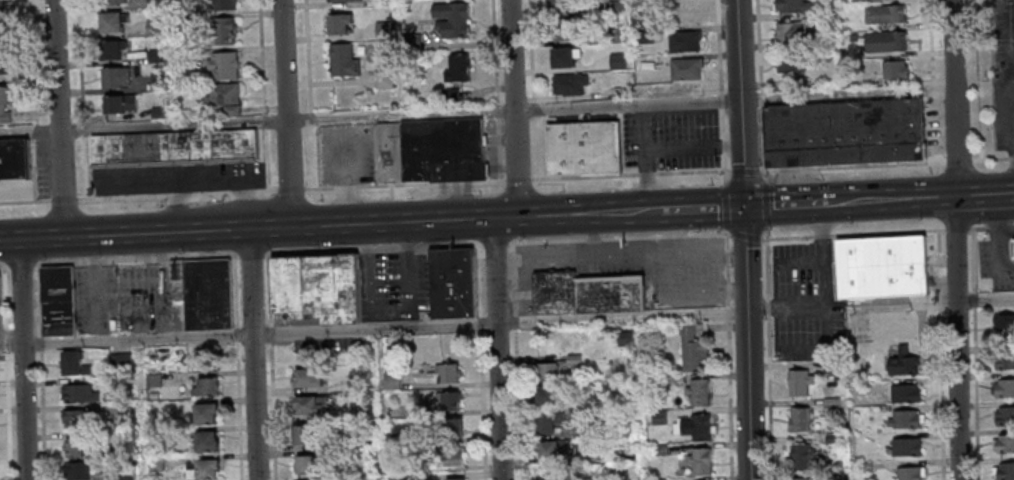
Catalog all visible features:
building: (344, 0)
building: (859, 0)
building: (118, 1)
building: (223, 4)
building: (560, 6)
building: (792, 6)
building: (4, 7)
building: (823, 12)
building: (686, 13)
building: (884, 14)
building: (452, 19)
building: (114, 22)
building: (341, 24)
building: (564, 29)
building: (226, 30)
building: (791, 34)
building: (853, 37)
building: (1, 38)
building: (685, 41)
building: (885, 42)
building: (114, 50)
road: (494, 50)
road: (529, 51)
building: (564, 56)
building: (344, 60)
road: (33, 61)
building: (223, 65)
building: (5, 66)
building: (687, 69)
building: (791, 69)
building: (894, 70)
building: (456, 74)
building: (117, 77)
building: (384, 79)
building: (570, 84)
road: (720, 91)
building: (224, 96)
road: (81, 99)
road: (742, 103)
building: (6, 104)
building: (121, 104)
road: (619, 104)
road: (512, 108)
road: (532, 108)
road: (496, 109)
road: (285, 113)
road: (1011, 115)
road: (532, 116)
road: (57, 119)
road: (172, 125)
road: (29, 131)
road: (33, 131)
building: (846, 131)
building: (173, 148)
building: (443, 148)
building: (582, 149)
building: (386, 150)
road: (498, 151)
building: (14, 158)
road: (956, 159)
road: (995, 160)
road: (848, 166)
road: (33, 170)
road: (745, 171)
road: (631, 173)
road: (518, 179)
road: (404, 186)
road: (289, 189)
road: (175, 193)
road: (391, 193)
road: (984, 196)
road: (62, 198)
road: (25, 201)
road: (891, 201)
road: (786, 205)
traffic signals: (746, 207)
road: (704, 209)
road: (393, 211)
road: (590, 214)
road: (258, 228)
road: (746, 235)
road: (619, 237)
road: (788, 237)
road: (766, 239)
road: (954, 239)
building: (1013, 239)
road: (997, 241)
road: (495, 242)
building: (1013, 247)
road: (373, 249)
road: (251, 255)
road: (136, 259)
road: (20, 264)
road: (2, 265)
building: (882, 270)
building: (453, 282)
building: (318, 287)
building: (203, 291)
building: (554, 294)
building: (609, 296)
road: (984, 296)
building: (1, 300)
building: (58, 300)
road: (373, 327)
building: (1004, 329)
road: (728, 331)
building: (624, 338)
road: (747, 343)
building: (692, 348)
road: (496, 349)
road: (251, 354)
road: (22, 359)
building: (1004, 361)
building: (119, 363)
building: (903, 363)
building: (72, 366)
building: (831, 367)
building: (556, 368)
road: (5, 372)
road: (40, 372)
building: (446, 374)
building: (152, 381)
building: (305, 381)
building: (391, 381)
building: (656, 381)
building: (799, 383)
building: (353, 384)
building: (205, 389)
building: (1004, 389)
building: (698, 394)
building: (904, 394)
building: (78, 395)
building: (545, 397)
building: (447, 402)
building: (832, 402)
building: (306, 407)
building: (122, 410)
building: (361, 412)
building: (203, 416)
building: (1004, 417)
building: (658, 418)
building: (77, 420)
building: (903, 420)
building: (798, 421)
building: (548, 425)
building: (696, 428)
building: (451, 429)
building: (596, 430)
building: (302, 437)
building: (832, 439)
building: (392, 440)
building: (362, 443)
building: (1005, 444)
building: (204, 445)
building: (905, 448)
building: (72, 449)
building: (659, 451)
building: (552, 452)
building: (450, 457)
building: (802, 458)
building: (699, 462)
building: (154, 464)
building: (394, 465)
building: (307, 467)
building: (863, 467)
building: (201, 471)
building: (1005, 471)
building: (75, 472)
building: (124, 473)
building: (910, 473)
building: (834, 475)
building: (548, 476)
building: (395, 478)
building: (456, 479)
building: (660, 479)
building: (801, 479)

